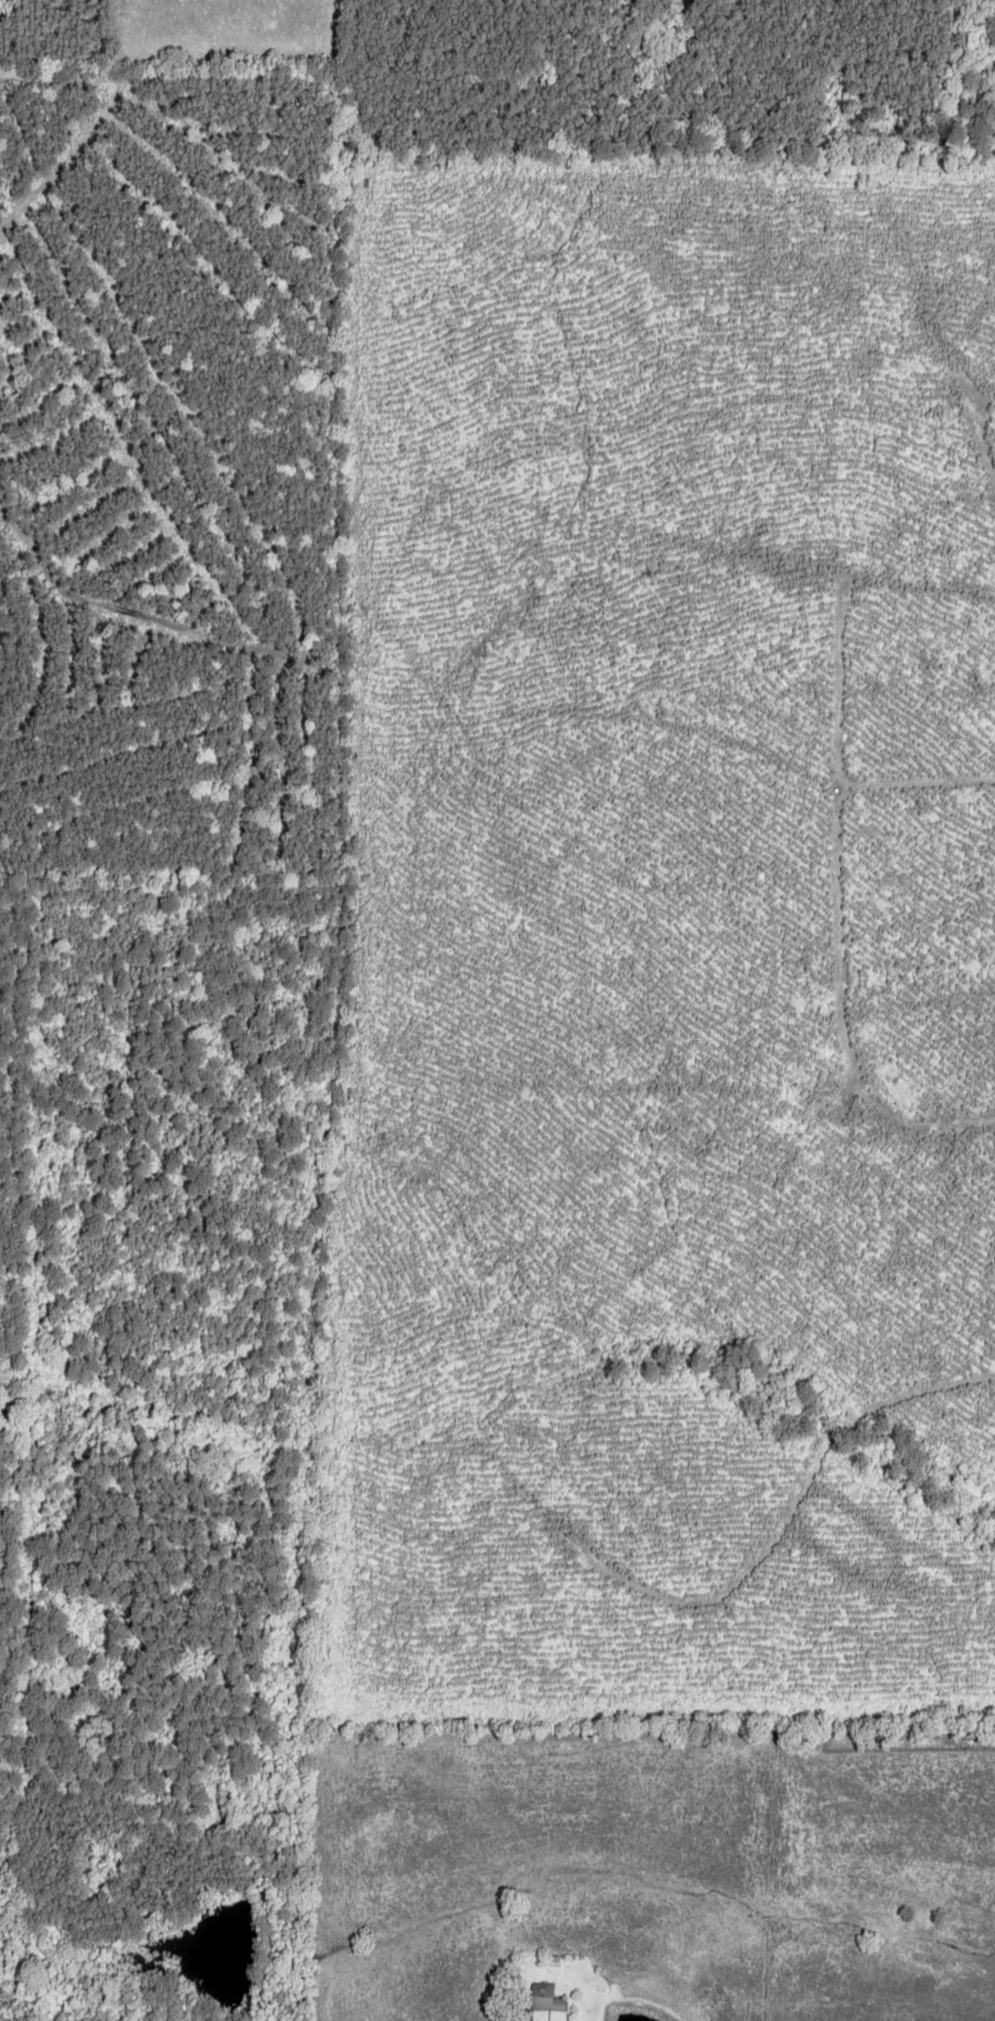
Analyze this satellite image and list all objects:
building: (545, 1998)
road: (533, 2017)

